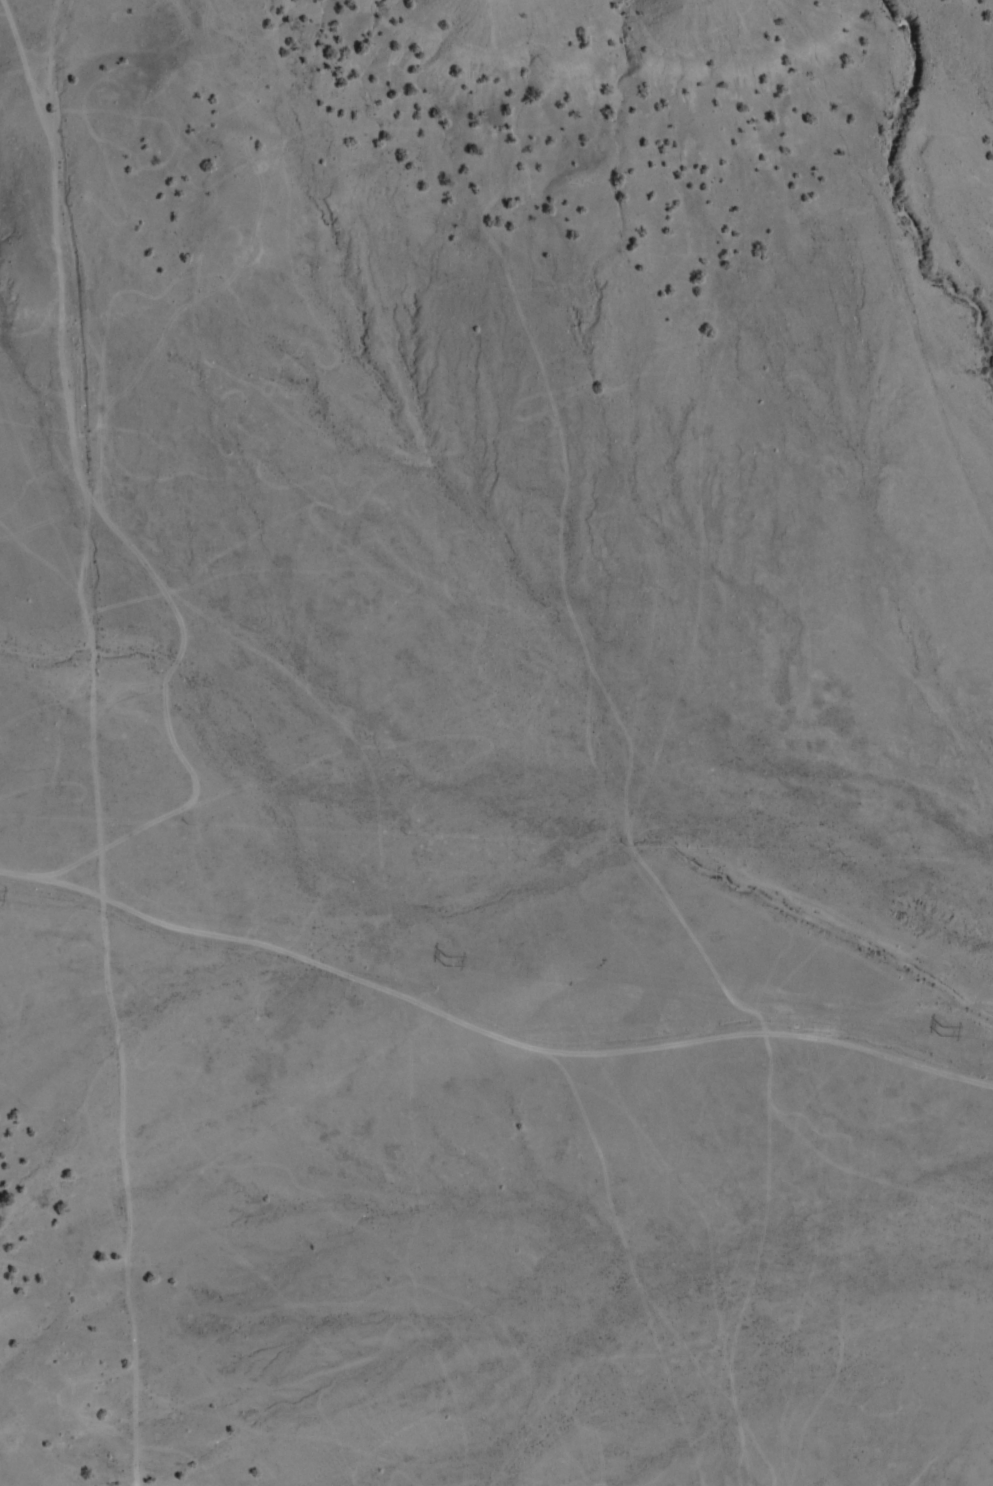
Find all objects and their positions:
power tower: (448, 962)
power tower: (944, 1031)

